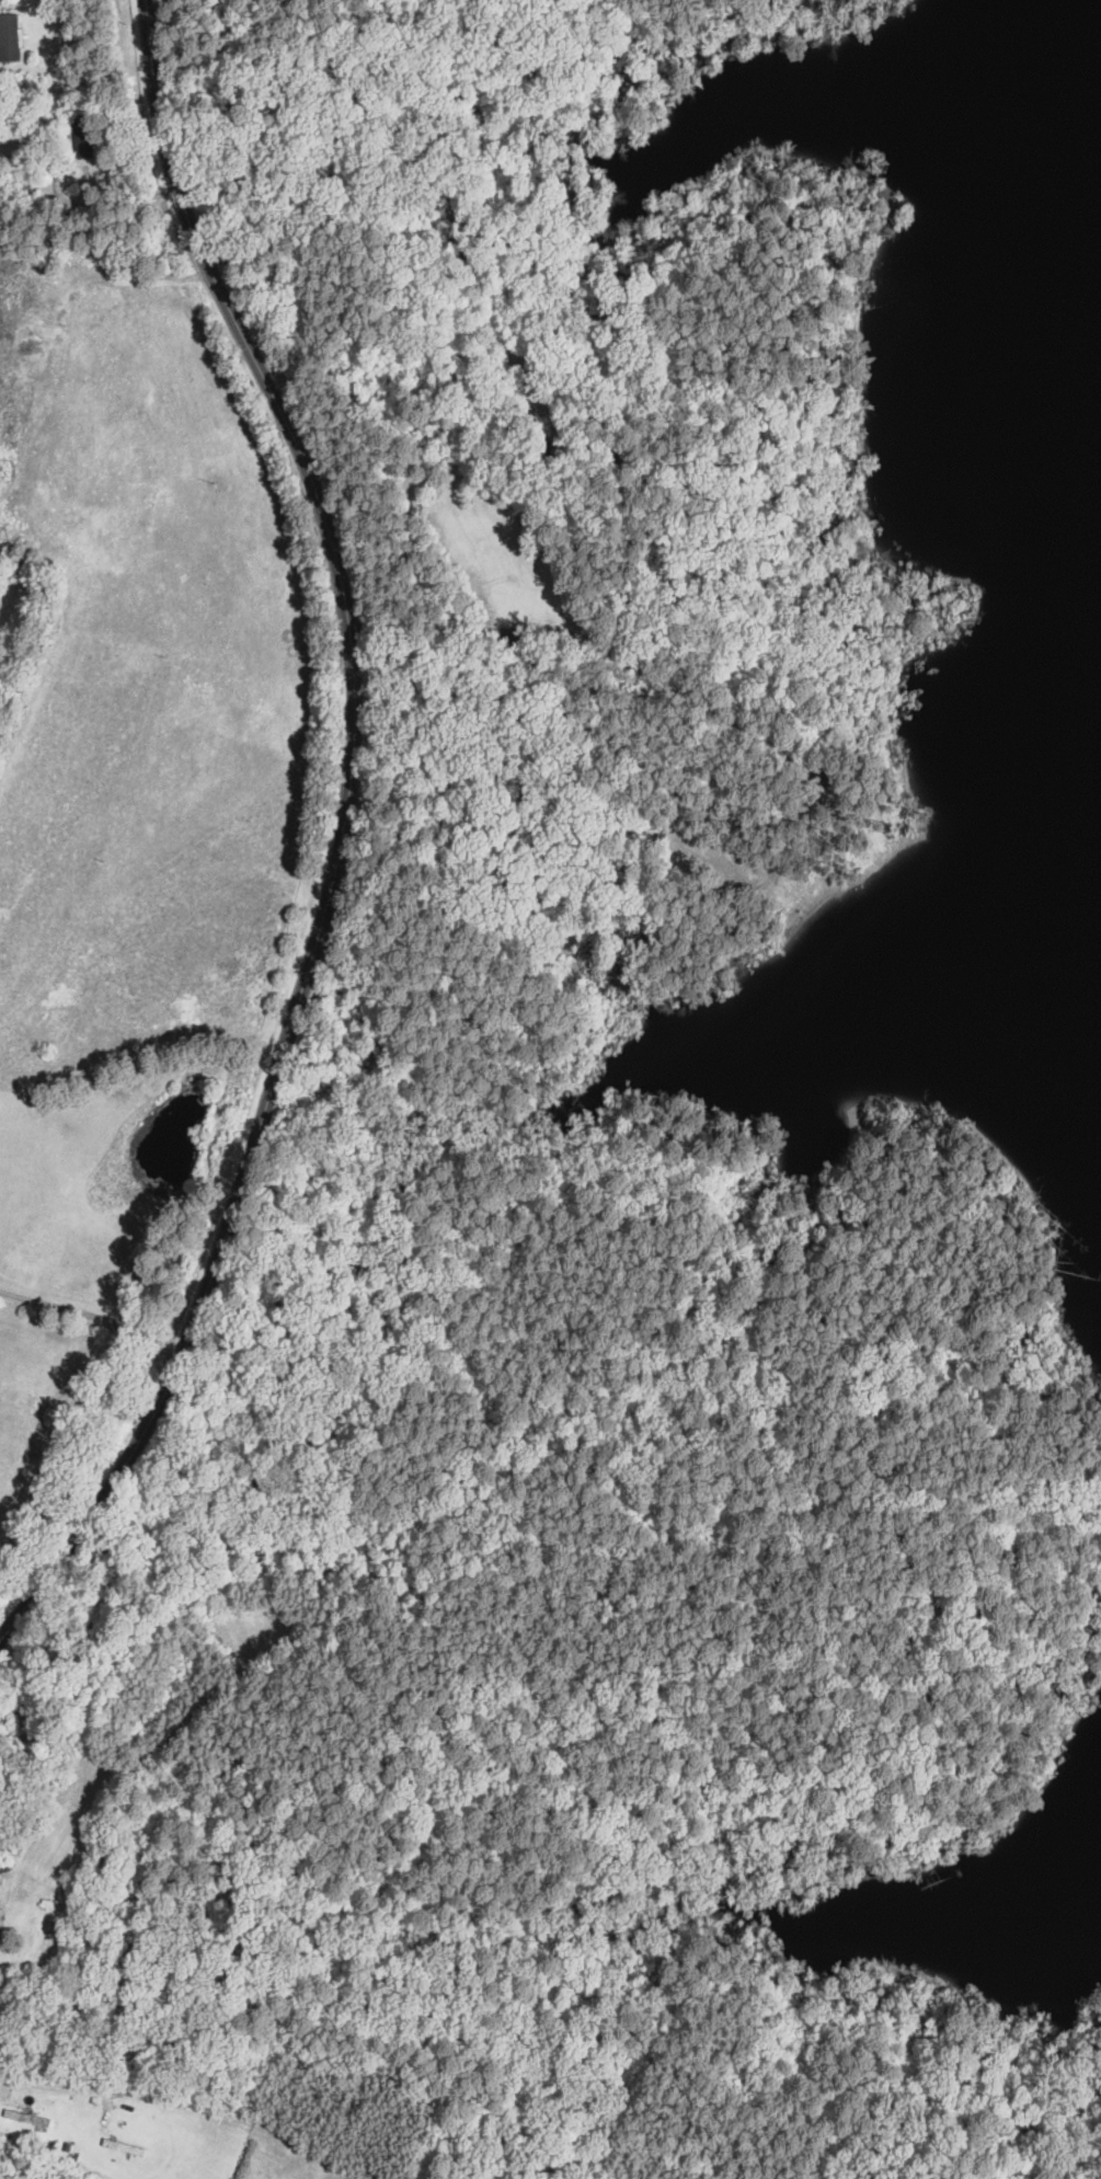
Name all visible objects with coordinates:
building: (9, 39)
building: (83, 139)
road: (334, 551)
park: (629, 1121)
road: (96, 1315)
road: (162, 1407)
road: (179, 2108)
building: (123, 2147)

